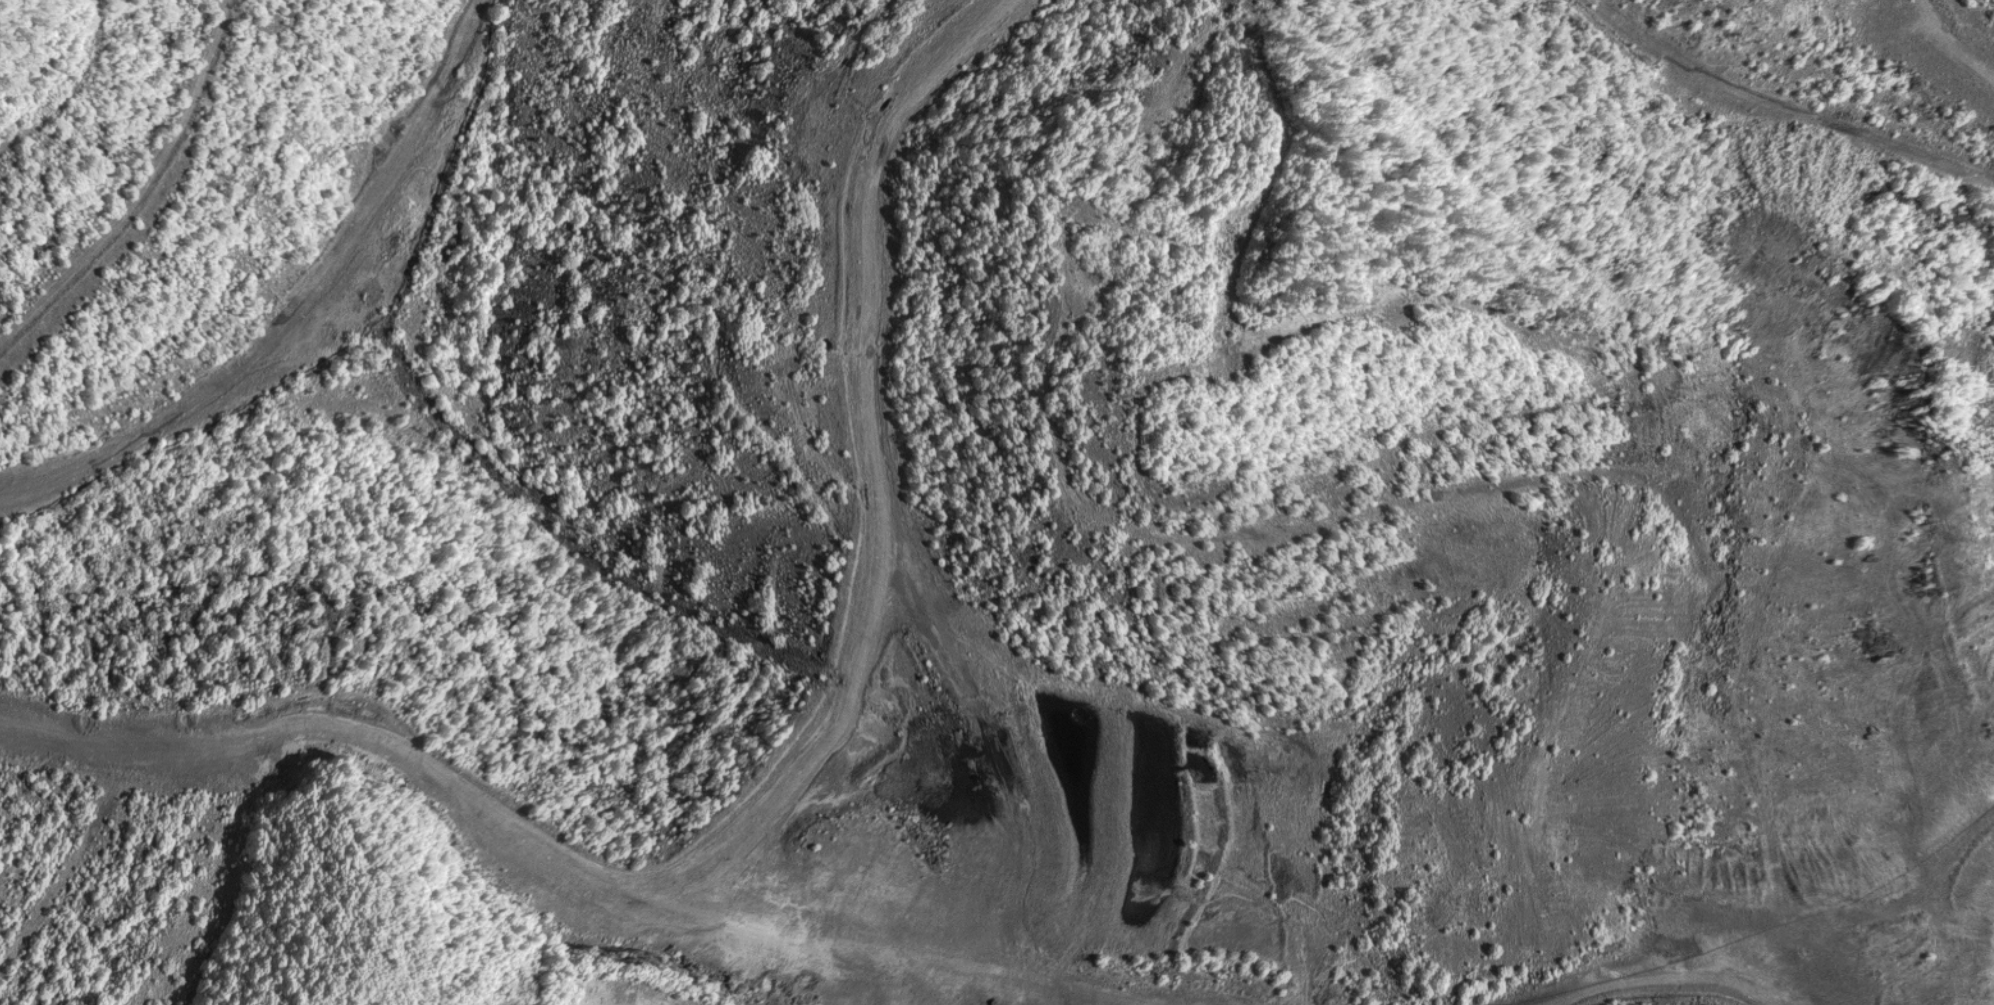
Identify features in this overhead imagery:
quarry: (997, 502)

